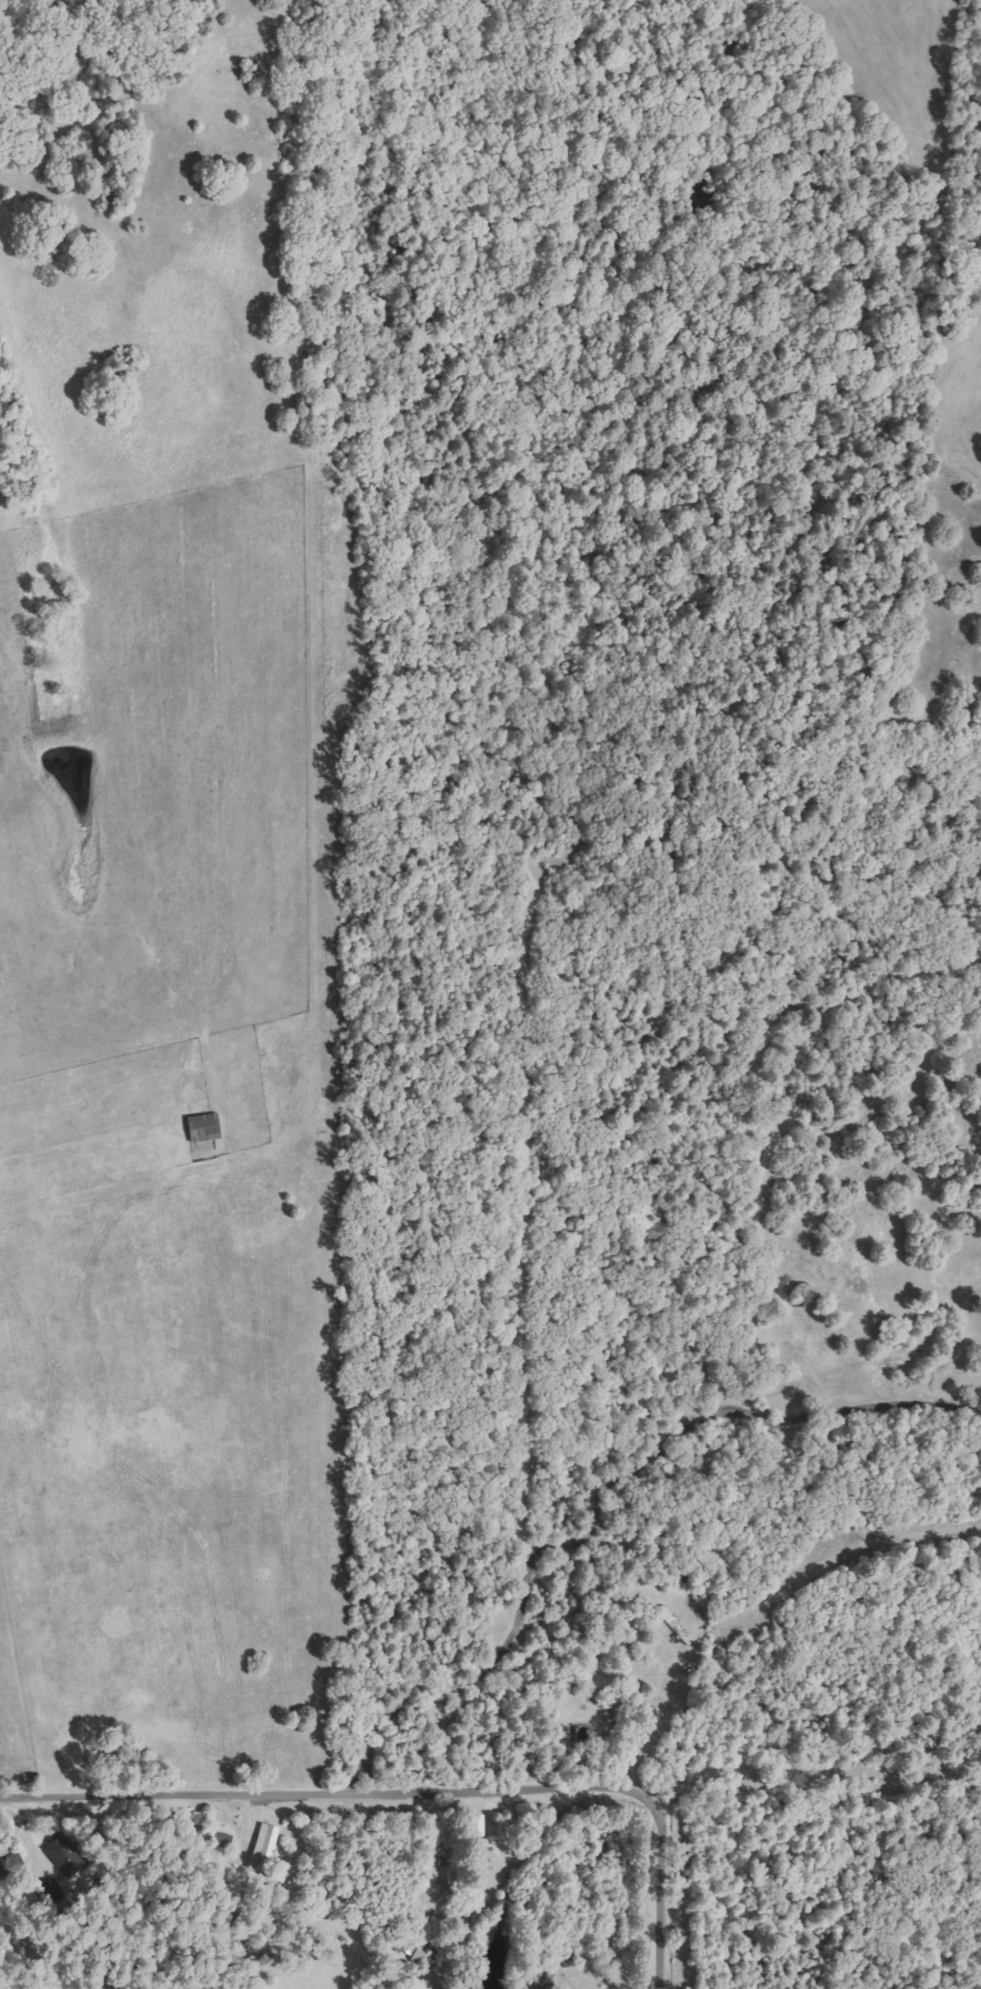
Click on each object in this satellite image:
building: (199, 1128)
road: (423, 1791)
building: (472, 1825)
building: (262, 1844)
building: (54, 1860)

